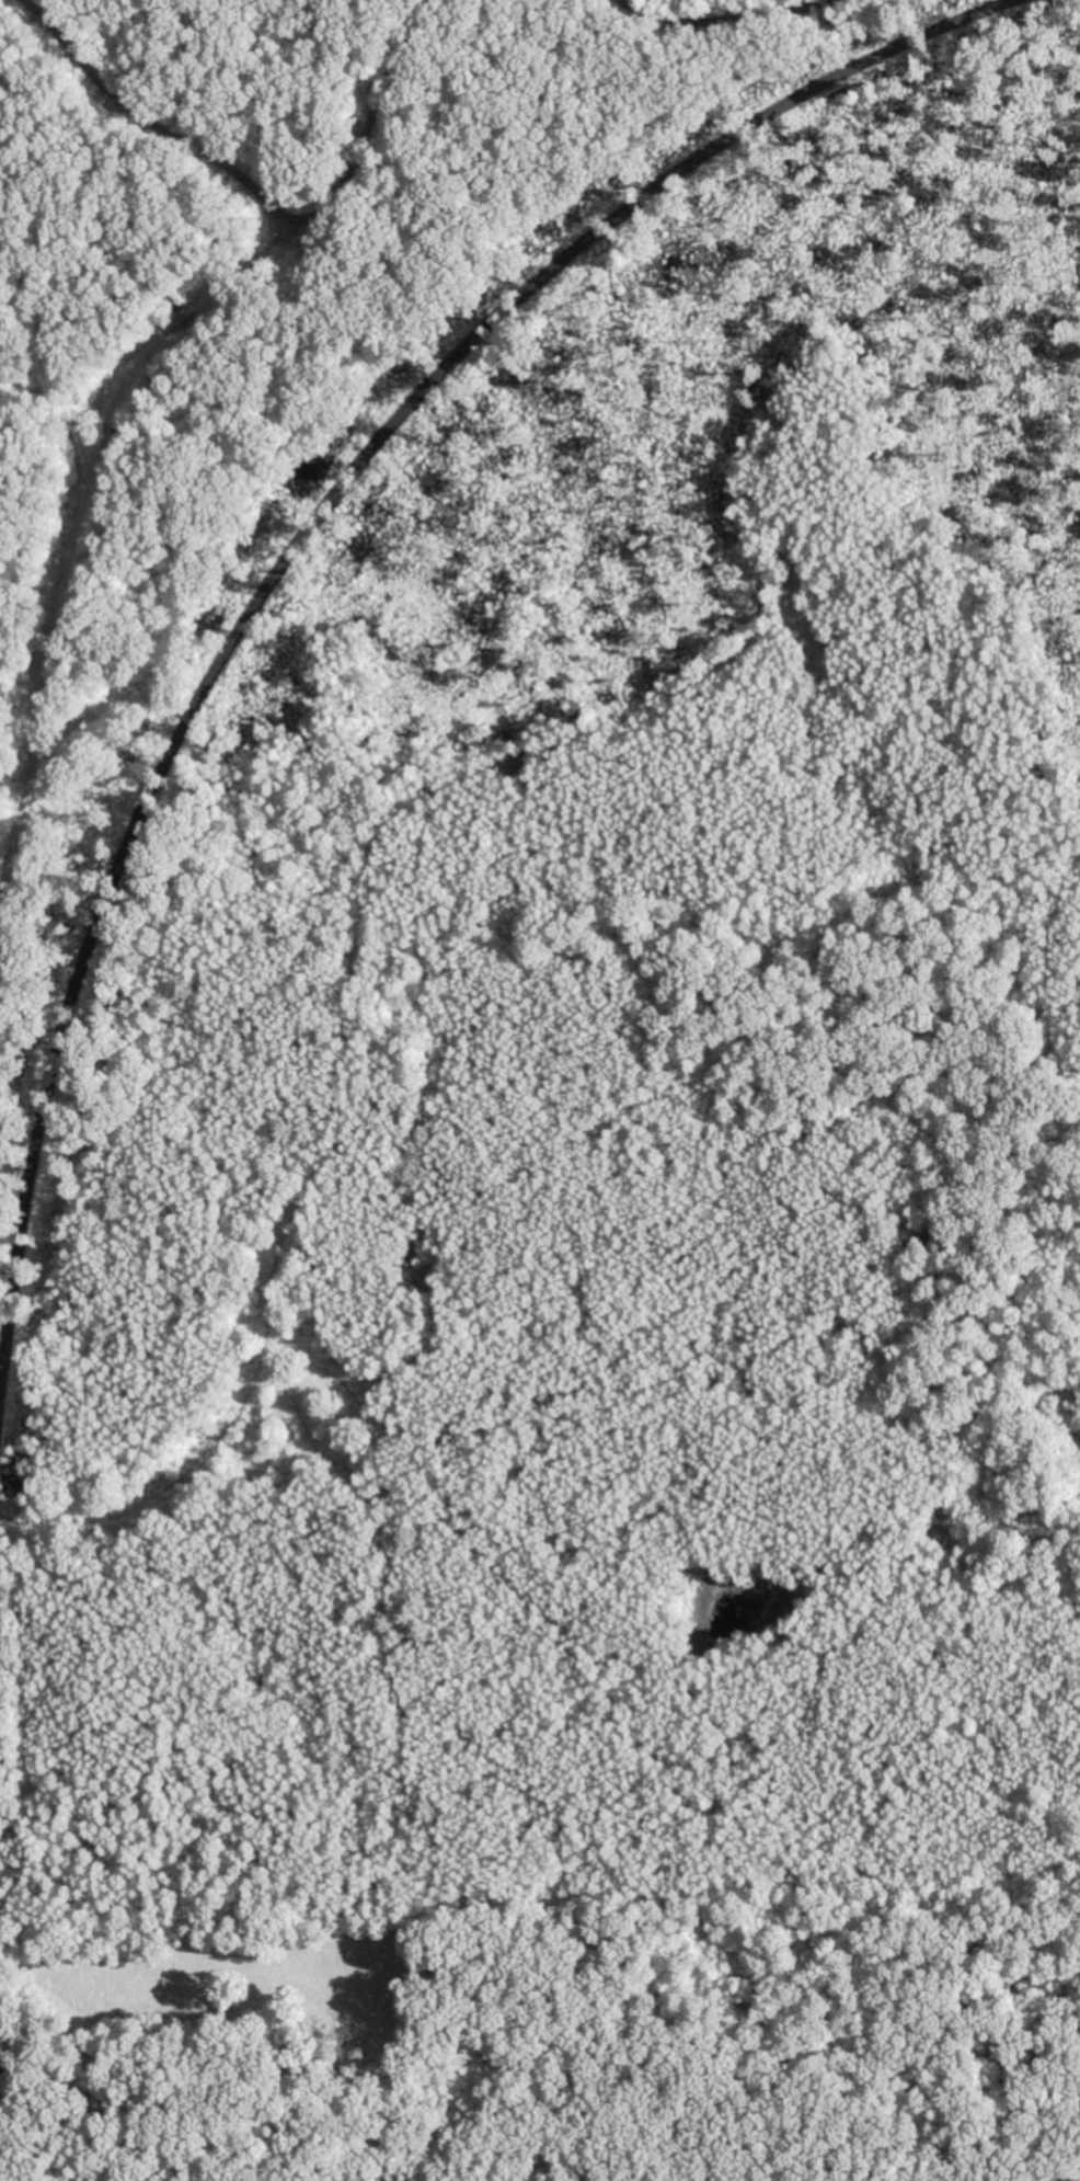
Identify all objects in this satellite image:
road: (286, 561)

